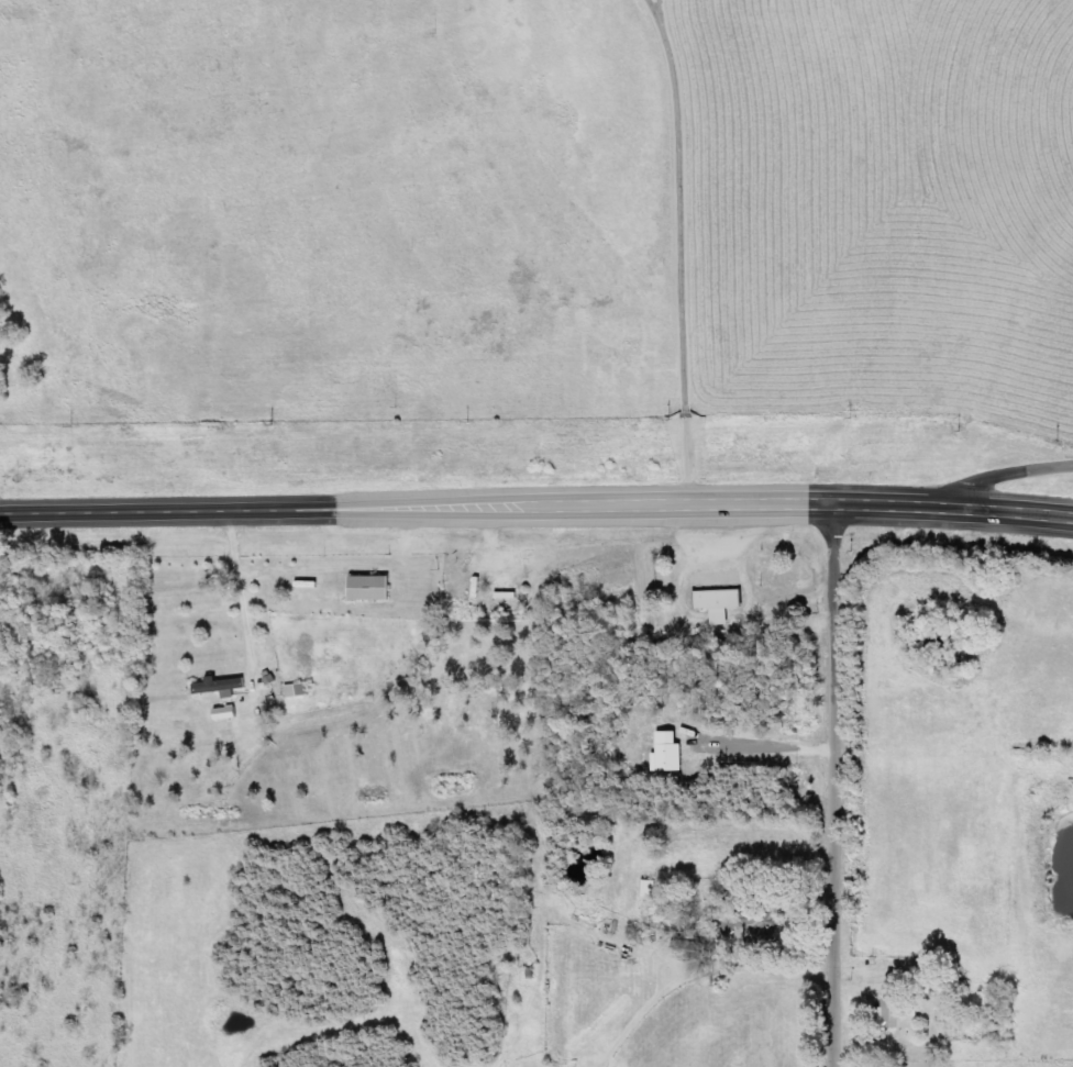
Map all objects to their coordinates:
road: (987, 478)
road: (536, 505)
building: (375, 589)
building: (718, 603)
building: (225, 687)
building: (299, 690)
building: (229, 713)
building: (666, 753)
road: (843, 785)
building: (651, 888)
building: (689, 947)
building: (916, 985)
building: (898, 1013)

